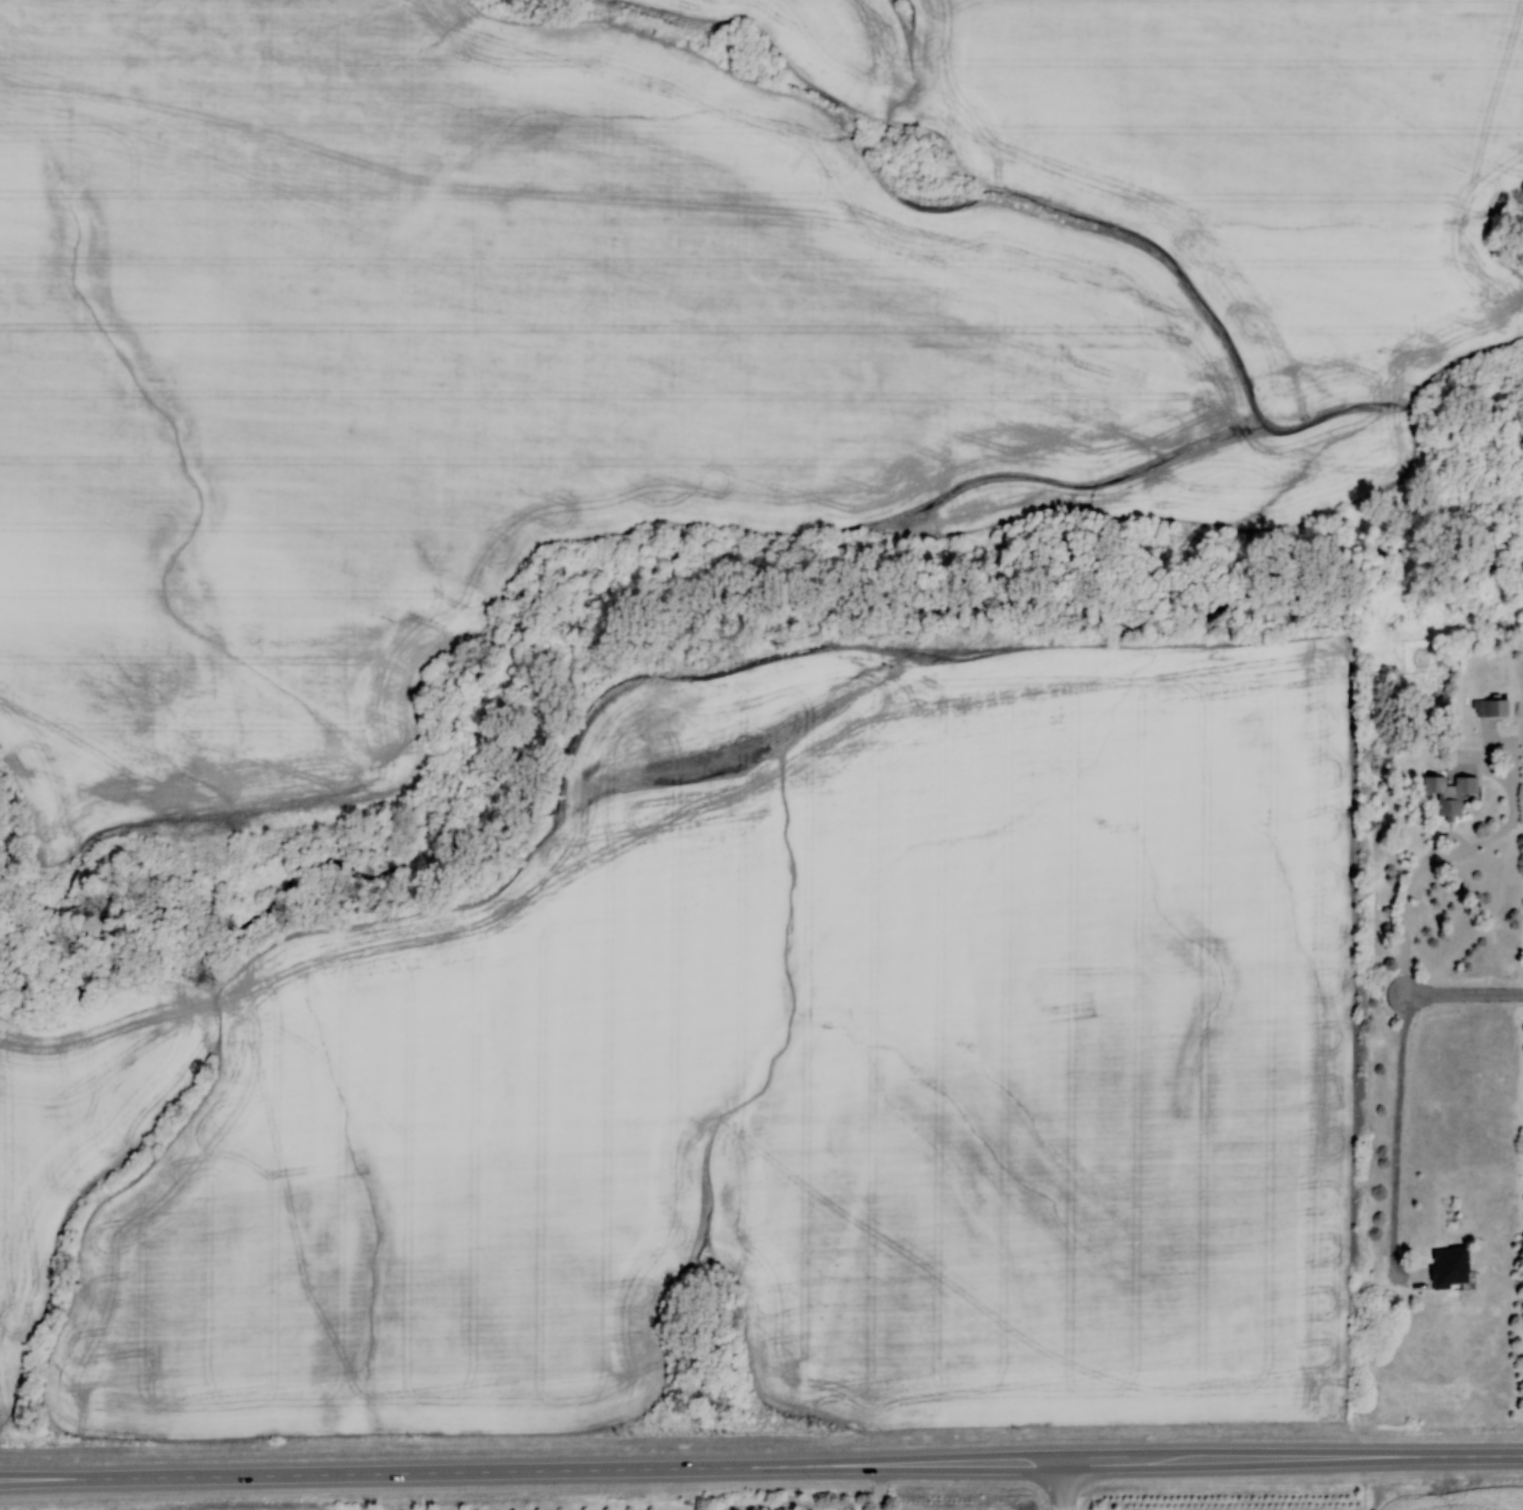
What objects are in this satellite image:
building: (1489, 707)
building: (1448, 793)
road: (1442, 858)
road: (1465, 994)
road: (1397, 1138)
building: (1447, 1267)
road: (761, 1467)
road: (1062, 1486)

